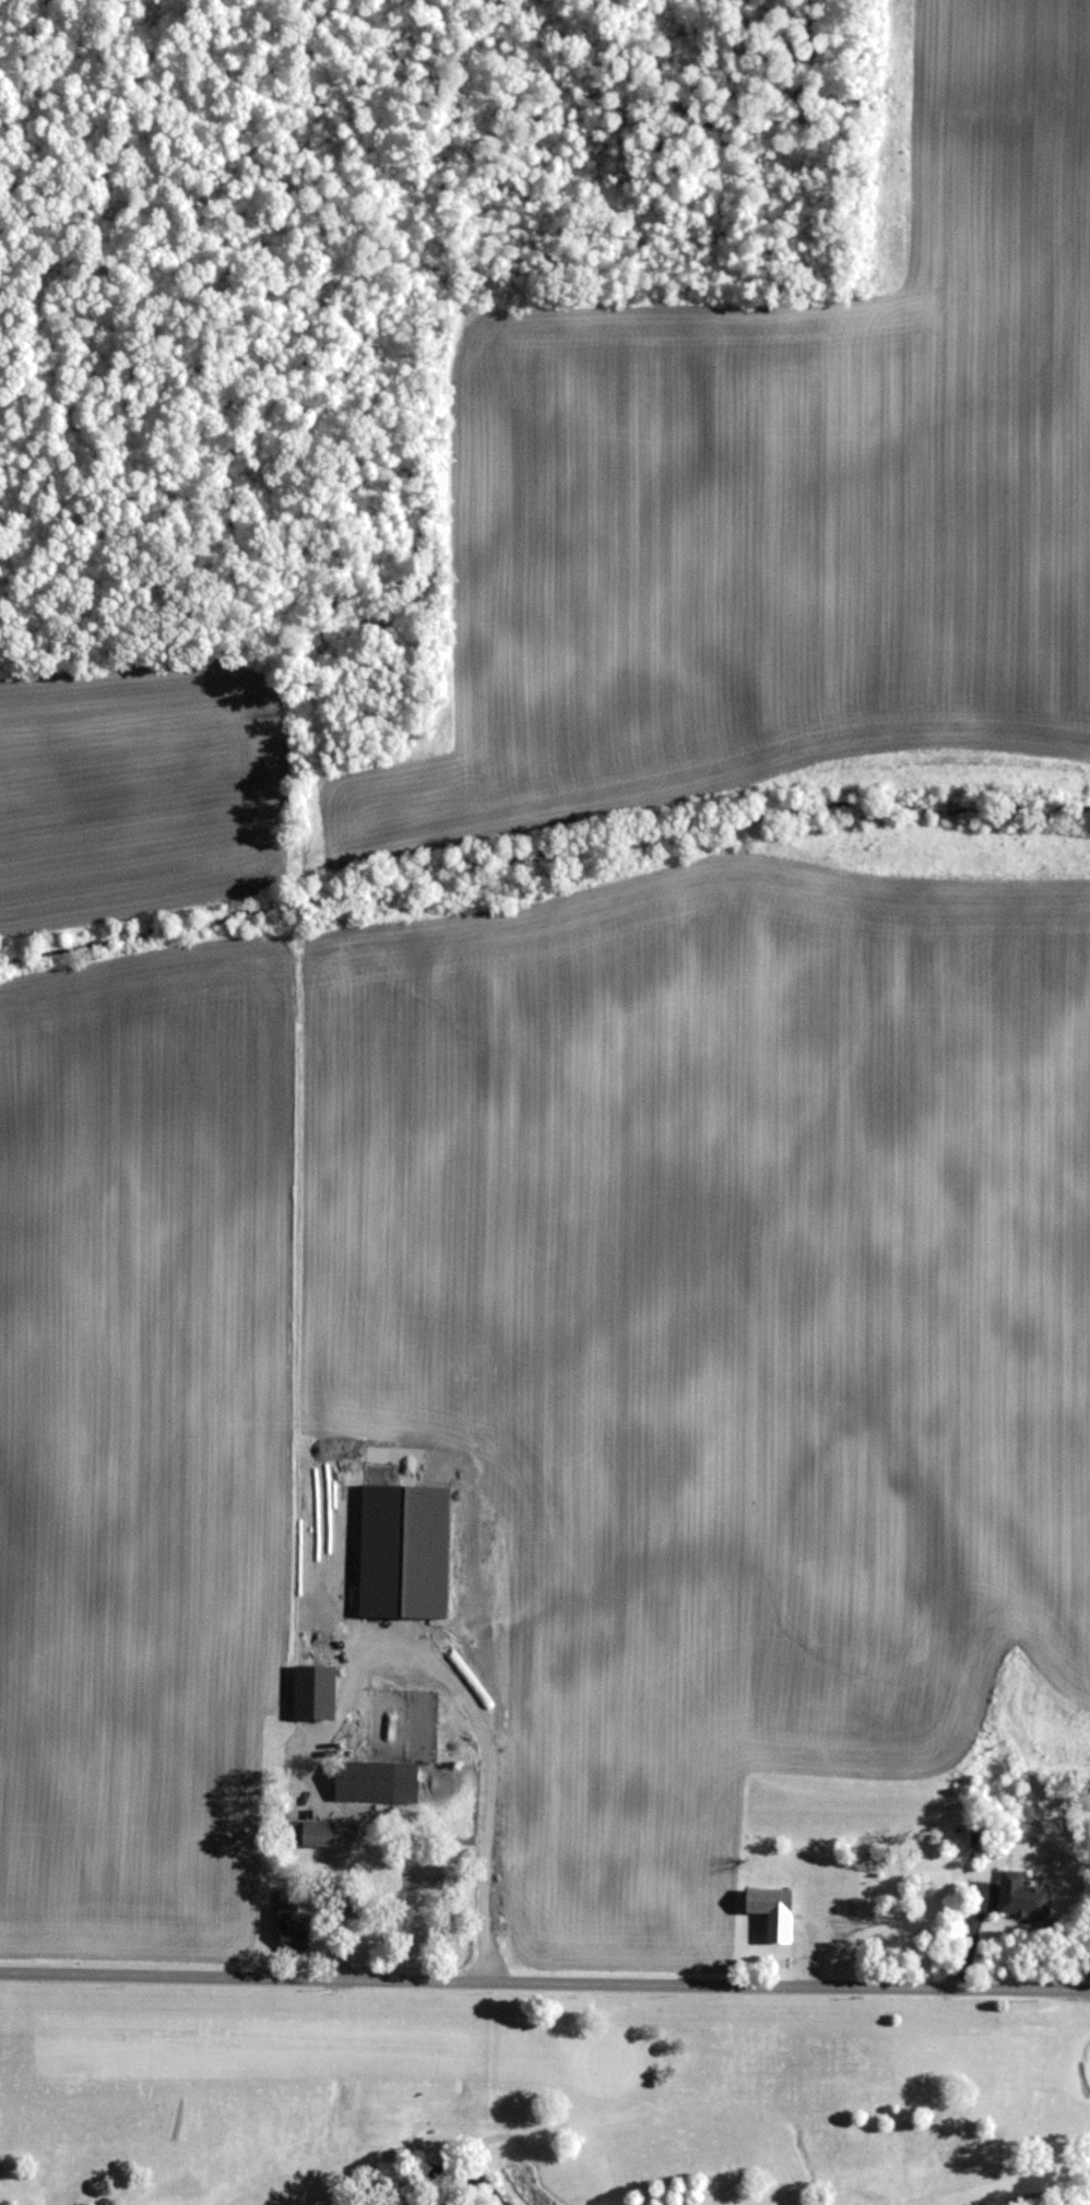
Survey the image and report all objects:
road: (545, 1981)
river: (450, 2156)

